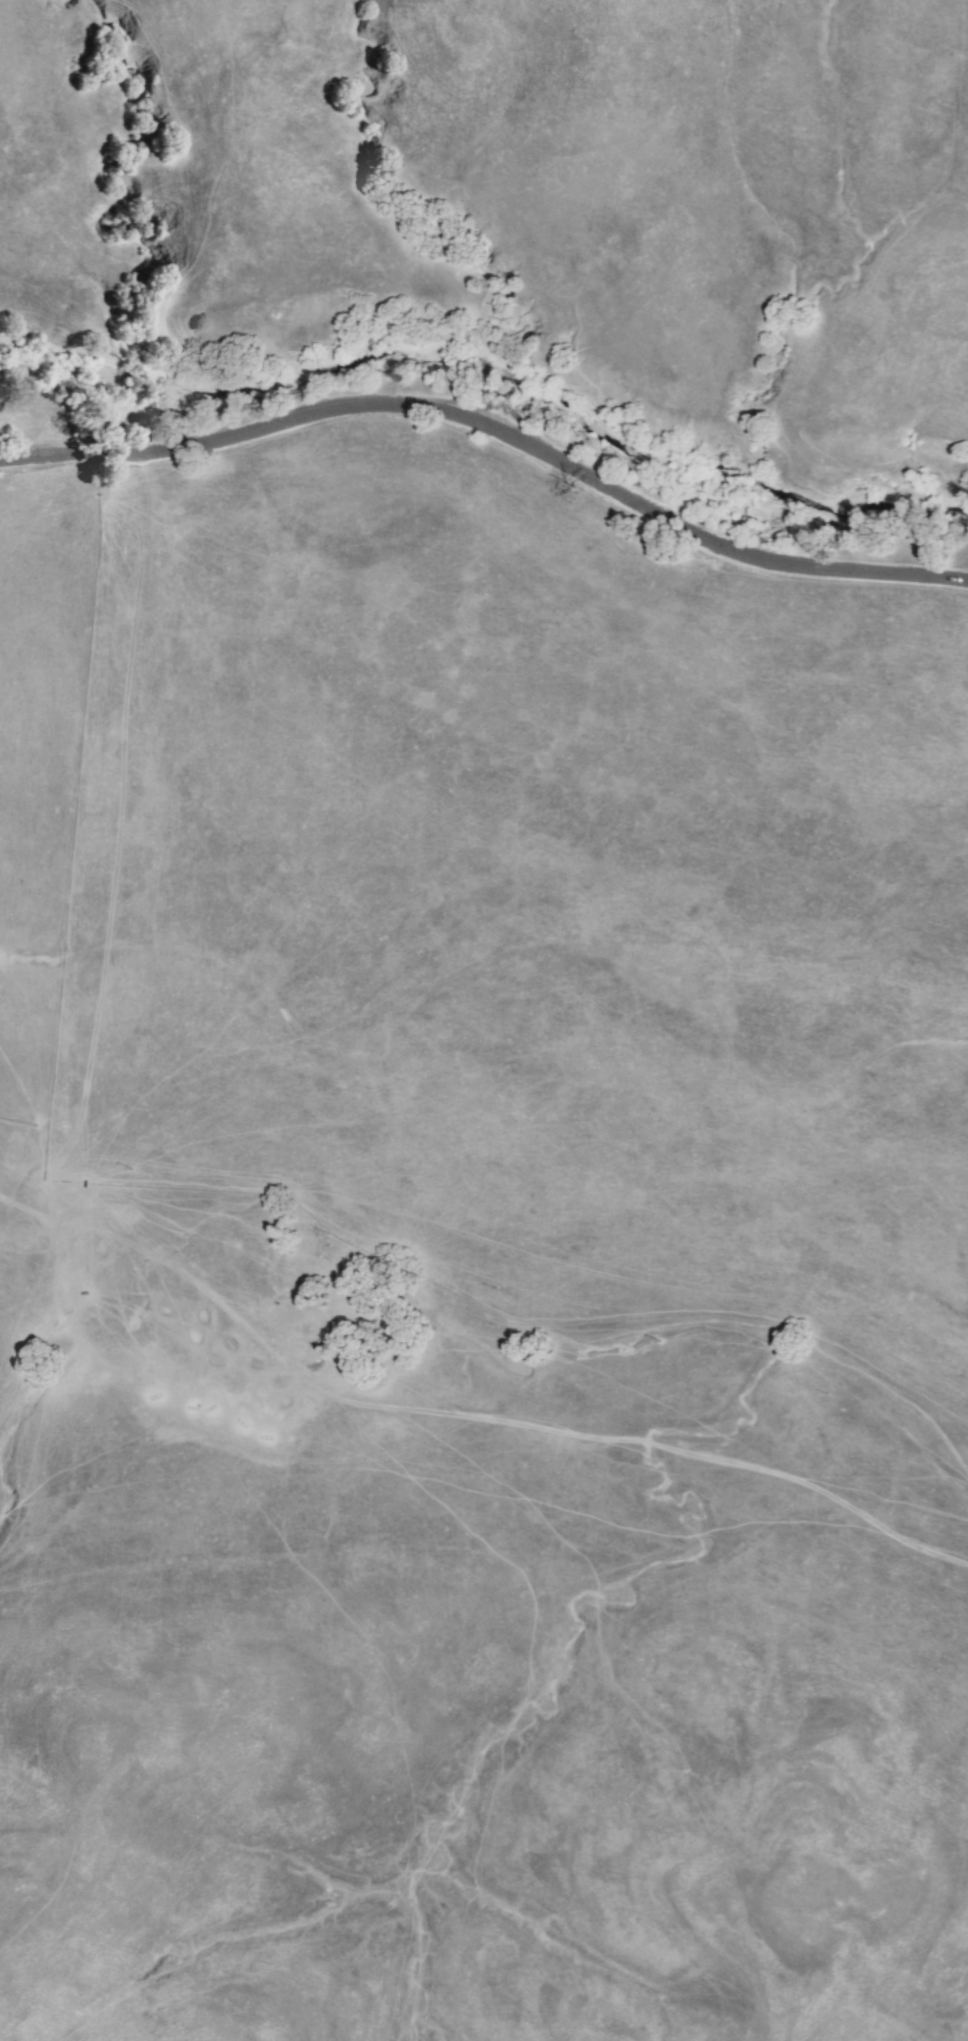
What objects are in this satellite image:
river: (492, 378)
road: (495, 428)

